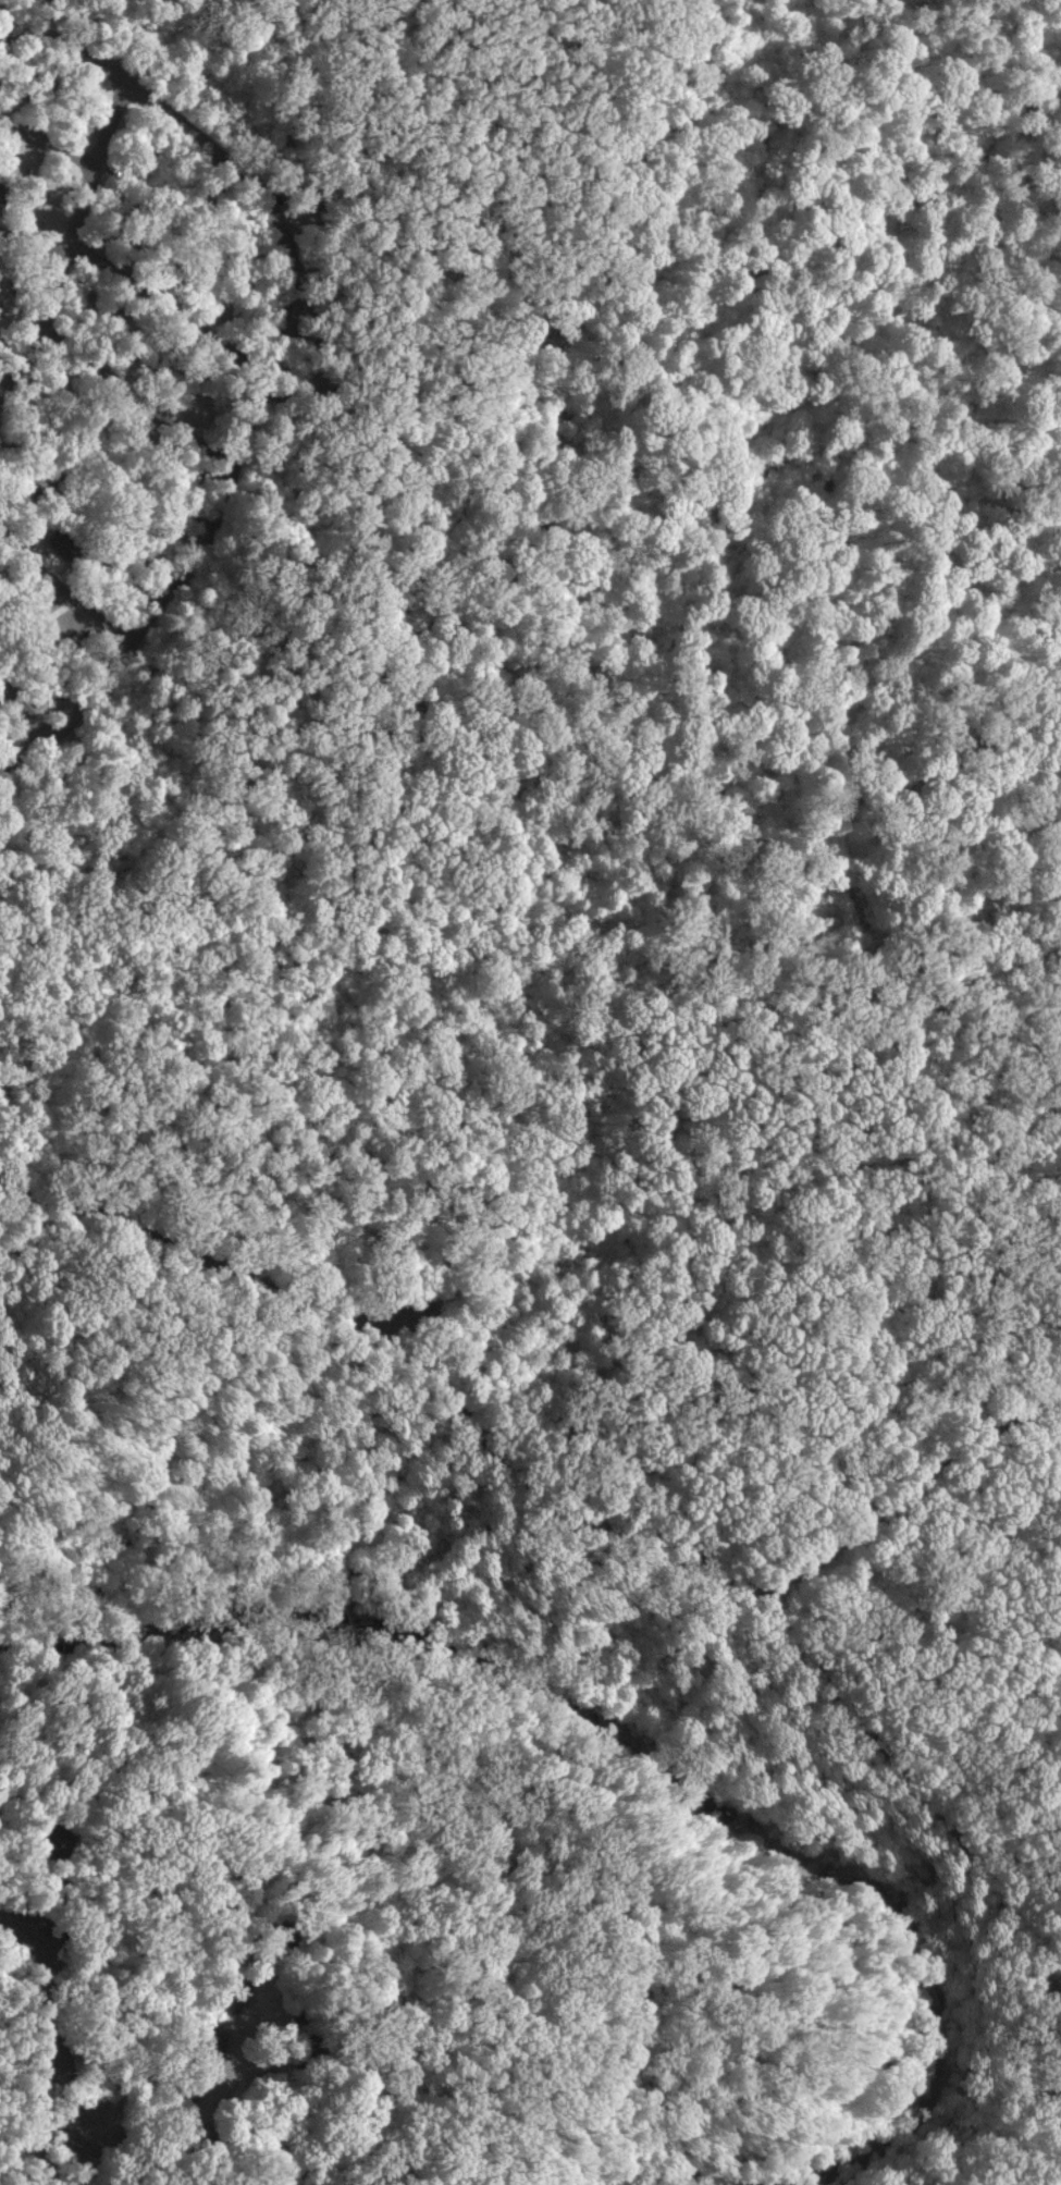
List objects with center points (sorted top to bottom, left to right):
road: (27, 19)
road: (0, 66)
road: (48, 145)
road: (608, 185)
building: (1, 193)
road: (72, 244)
road: (34, 251)
road: (169, 308)
road: (270, 363)
road: (136, 396)
road: (844, 453)
road: (964, 454)
building: (66, 542)
road: (64, 593)
road: (534, 631)
road: (938, 735)
road: (629, 987)
road: (129, 1058)
parking lot: (396, 1313)
road: (390, 1326)
road: (341, 1363)
parking lot: (1045, 1396)
road: (899, 1486)
road: (664, 1539)
road: (170, 1604)
building: (53, 1836)
road: (776, 1859)
road: (680, 1931)
building: (274, 1937)
road: (139, 1978)
building: (231, 1997)
road: (45, 2042)
building: (205, 2050)
building: (308, 2053)
road: (131, 2074)
road: (217, 2084)
building: (187, 2095)
building: (200, 2137)
road: (691, 2181)

